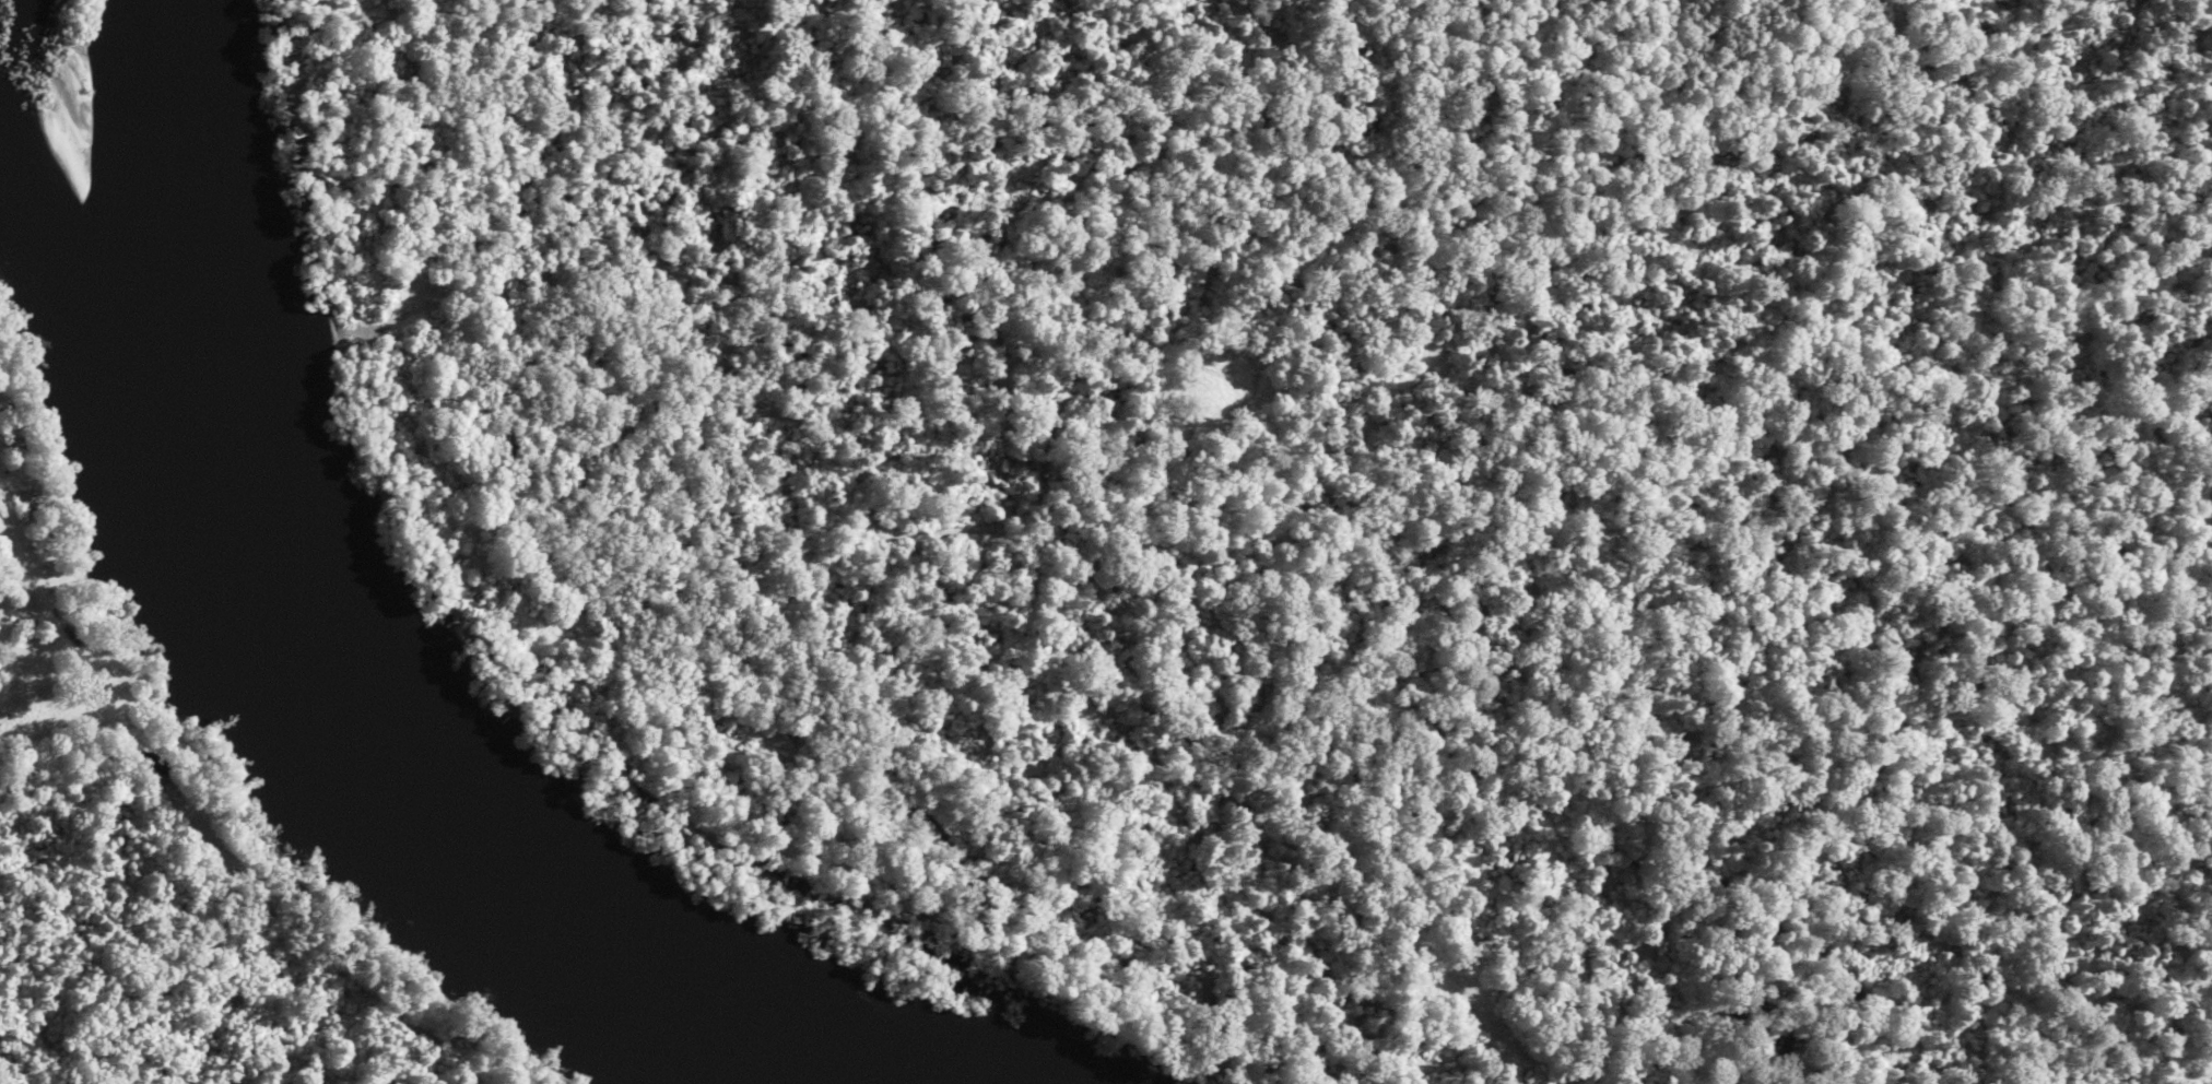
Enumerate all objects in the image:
river: (266, 704)

